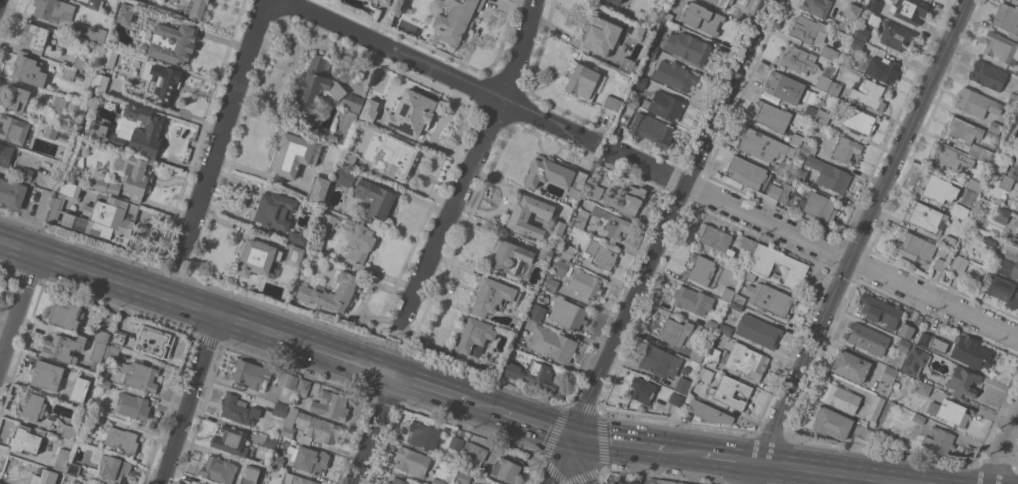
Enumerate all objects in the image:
building: (853, 0)
building: (858, 0)
building: (617, 1)
road: (0, 2)
building: (721, 2)
building: (93, 4)
building: (874, 5)
building: (817, 7)
building: (198, 9)
building: (54, 10)
building: (853, 10)
building: (909, 10)
building: (125, 13)
building: (668, 15)
building: (454, 17)
building: (702, 17)
building: (1007, 19)
building: (666, 21)
building: (806, 28)
building: (637, 32)
building: (92, 33)
building: (863, 33)
building: (598, 35)
building: (896, 35)
building: (35, 36)
building: (173, 42)
building: (857, 44)
building: (687, 47)
building: (1000, 47)
building: (652, 52)
building: (829, 53)
building: (110, 57)
building: (798, 59)
building: (79, 62)
building: (629, 65)
building: (28, 69)
building: (883, 69)
road: (438, 70)
building: (69, 73)
building: (1017, 74)
building: (676, 75)
building: (988, 75)
building: (163, 81)
building: (825, 81)
building: (583, 82)
building: (101, 83)
building: (638, 83)
building: (315, 87)
building: (784, 87)
building: (834, 88)
building: (869, 94)
building: (15, 98)
building: (1012, 99)
building: (71, 101)
building: (59, 102)
building: (352, 102)
building: (613, 103)
building: (976, 103)
building: (665, 105)
building: (369, 106)
building: (811, 112)
building: (413, 116)
building: (772, 116)
building: (823, 116)
building: (624, 119)
building: (859, 121)
road: (227, 122)
building: (995, 126)
building: (145, 128)
building: (13, 129)
building: (652, 129)
building: (965, 130)
building: (50, 132)
building: (102, 133)
building: (796, 139)
building: (760, 144)
building: (810, 148)
building: (846, 149)
building: (983, 152)
building: (6, 154)
building: (294, 156)
building: (396, 156)
building: (349, 158)
building: (949, 158)
road: (474, 161)
building: (1001, 164)
building: (785, 167)
building: (747, 172)
building: (1013, 172)
building: (28, 174)
building: (556, 174)
building: (799, 174)
building: (830, 175)
building: (135, 177)
building: (345, 177)
building: (86, 181)
building: (1006, 182)
building: (973, 184)
building: (107, 186)
building: (318, 188)
building: (938, 188)
building: (596, 191)
building: (774, 191)
building: (784, 192)
building: (12, 193)
building: (374, 199)
building: (632, 200)
building: (44, 204)
building: (964, 204)
building: (819, 205)
building: (70, 206)
building: (274, 211)
building: (96, 214)
building: (1001, 214)
building: (529, 216)
building: (580, 218)
building: (927, 218)
building: (326, 221)
building: (612, 224)
building: (558, 228)
building: (298, 237)
building: (715, 238)
building: (1014, 239)
building: (950, 240)
road: (659, 241)
building: (991, 241)
building: (360, 242)
road: (855, 242)
building: (748, 244)
building: (316, 245)
road: (817, 248)
building: (915, 248)
building: (567, 251)
building: (546, 253)
building: (601, 254)
building: (295, 255)
building: (257, 257)
building: (512, 257)
building: (941, 260)
building: (958, 262)
building: (797, 266)
building: (561, 267)
building: (1009, 267)
building: (700, 268)
building: (749, 275)
building: (775, 276)
building: (552, 283)
building: (585, 284)
building: (1001, 289)
building: (332, 292)
building: (727, 294)
building: (496, 296)
building: (769, 298)
building: (687, 299)
building: (739, 299)
building: (736, 306)
road: (195, 307)
building: (879, 311)
road: (19, 313)
building: (67, 313)
building: (570, 314)
building: (112, 317)
building: (918, 320)
building: (711, 324)
building: (726, 329)
building: (906, 330)
building: (675, 331)
building: (758, 331)
building: (102, 335)
building: (475, 336)
building: (118, 337)
building: (867, 338)
building: (925, 339)
building: (154, 342)
building: (553, 343)
building: (903, 345)
building: (62, 348)
building: (112, 352)
building: (971, 352)
building: (98, 355)
building: (697, 355)
building: (713, 356)
building: (659, 361)
building: (745, 361)
building: (916, 361)
building: (851, 366)
building: (493, 368)
building: (685, 370)
building: (47, 374)
building: (533, 374)
building: (706, 374)
building: (890, 374)
building: (140, 376)
building: (251, 376)
building: (963, 381)
building: (104, 383)
building: (287, 385)
building: (683, 385)
building: (896, 385)
building: (303, 387)
road: (428, 387)
building: (924, 388)
building: (78, 389)
building: (643, 390)
building: (731, 392)
building: (840, 398)
building: (677, 399)
road: (192, 400)
building: (331, 404)
building: (33, 406)
road: (484, 406)
building: (134, 407)
building: (875, 408)
building: (239, 410)
building: (280, 410)
building: (950, 411)
building: (709, 412)
building: (96, 416)
building: (919, 418)
building: (289, 423)
building: (832, 423)
road: (538, 425)
building: (319, 427)
road: (376, 430)
building: (69, 431)
building: (862, 431)
building: (424, 435)
building: (301, 438)
traffic signals: (575, 438)
building: (122, 439)
building: (938, 439)
building: (25, 440)
building: (231, 440)
building: (270, 442)
building: (457, 442)
road: (620, 444)
road: (1003, 449)
road: (684, 452)
building: (474, 454)
building: (309, 458)
road: (727, 458)
building: (62, 459)
building: (277, 460)
building: (412, 461)
road: (587, 461)
building: (73, 468)
building: (114, 469)
building: (219, 469)
building: (507, 469)
building: (259, 470)
building: (274, 471)
road: (832, 472)
building: (45, 477)
building: (463, 477)
building: (296, 479)
building: (626, 480)
building: (398, 481)
building: (438, 481)
building: (653, 482)
building: (669, 482)
building: (194, 483)
building: (196, 483)
building: (482, 483)
building: (687, 483)

